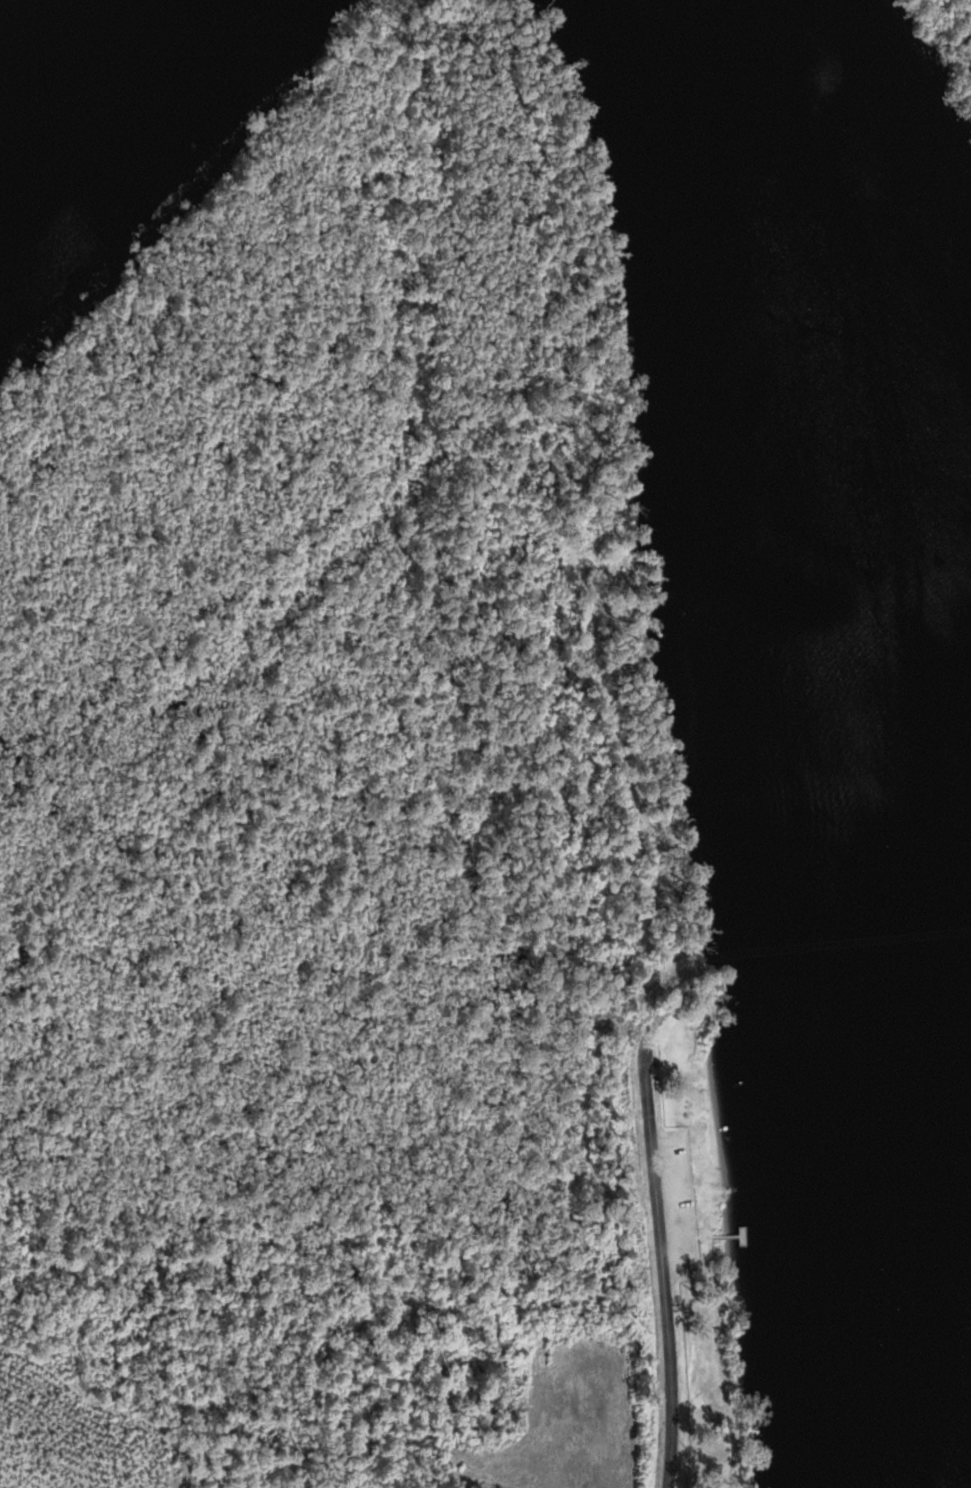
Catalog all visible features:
river: (100, 94)
river: (771, 107)
river: (852, 854)
road: (661, 1266)

